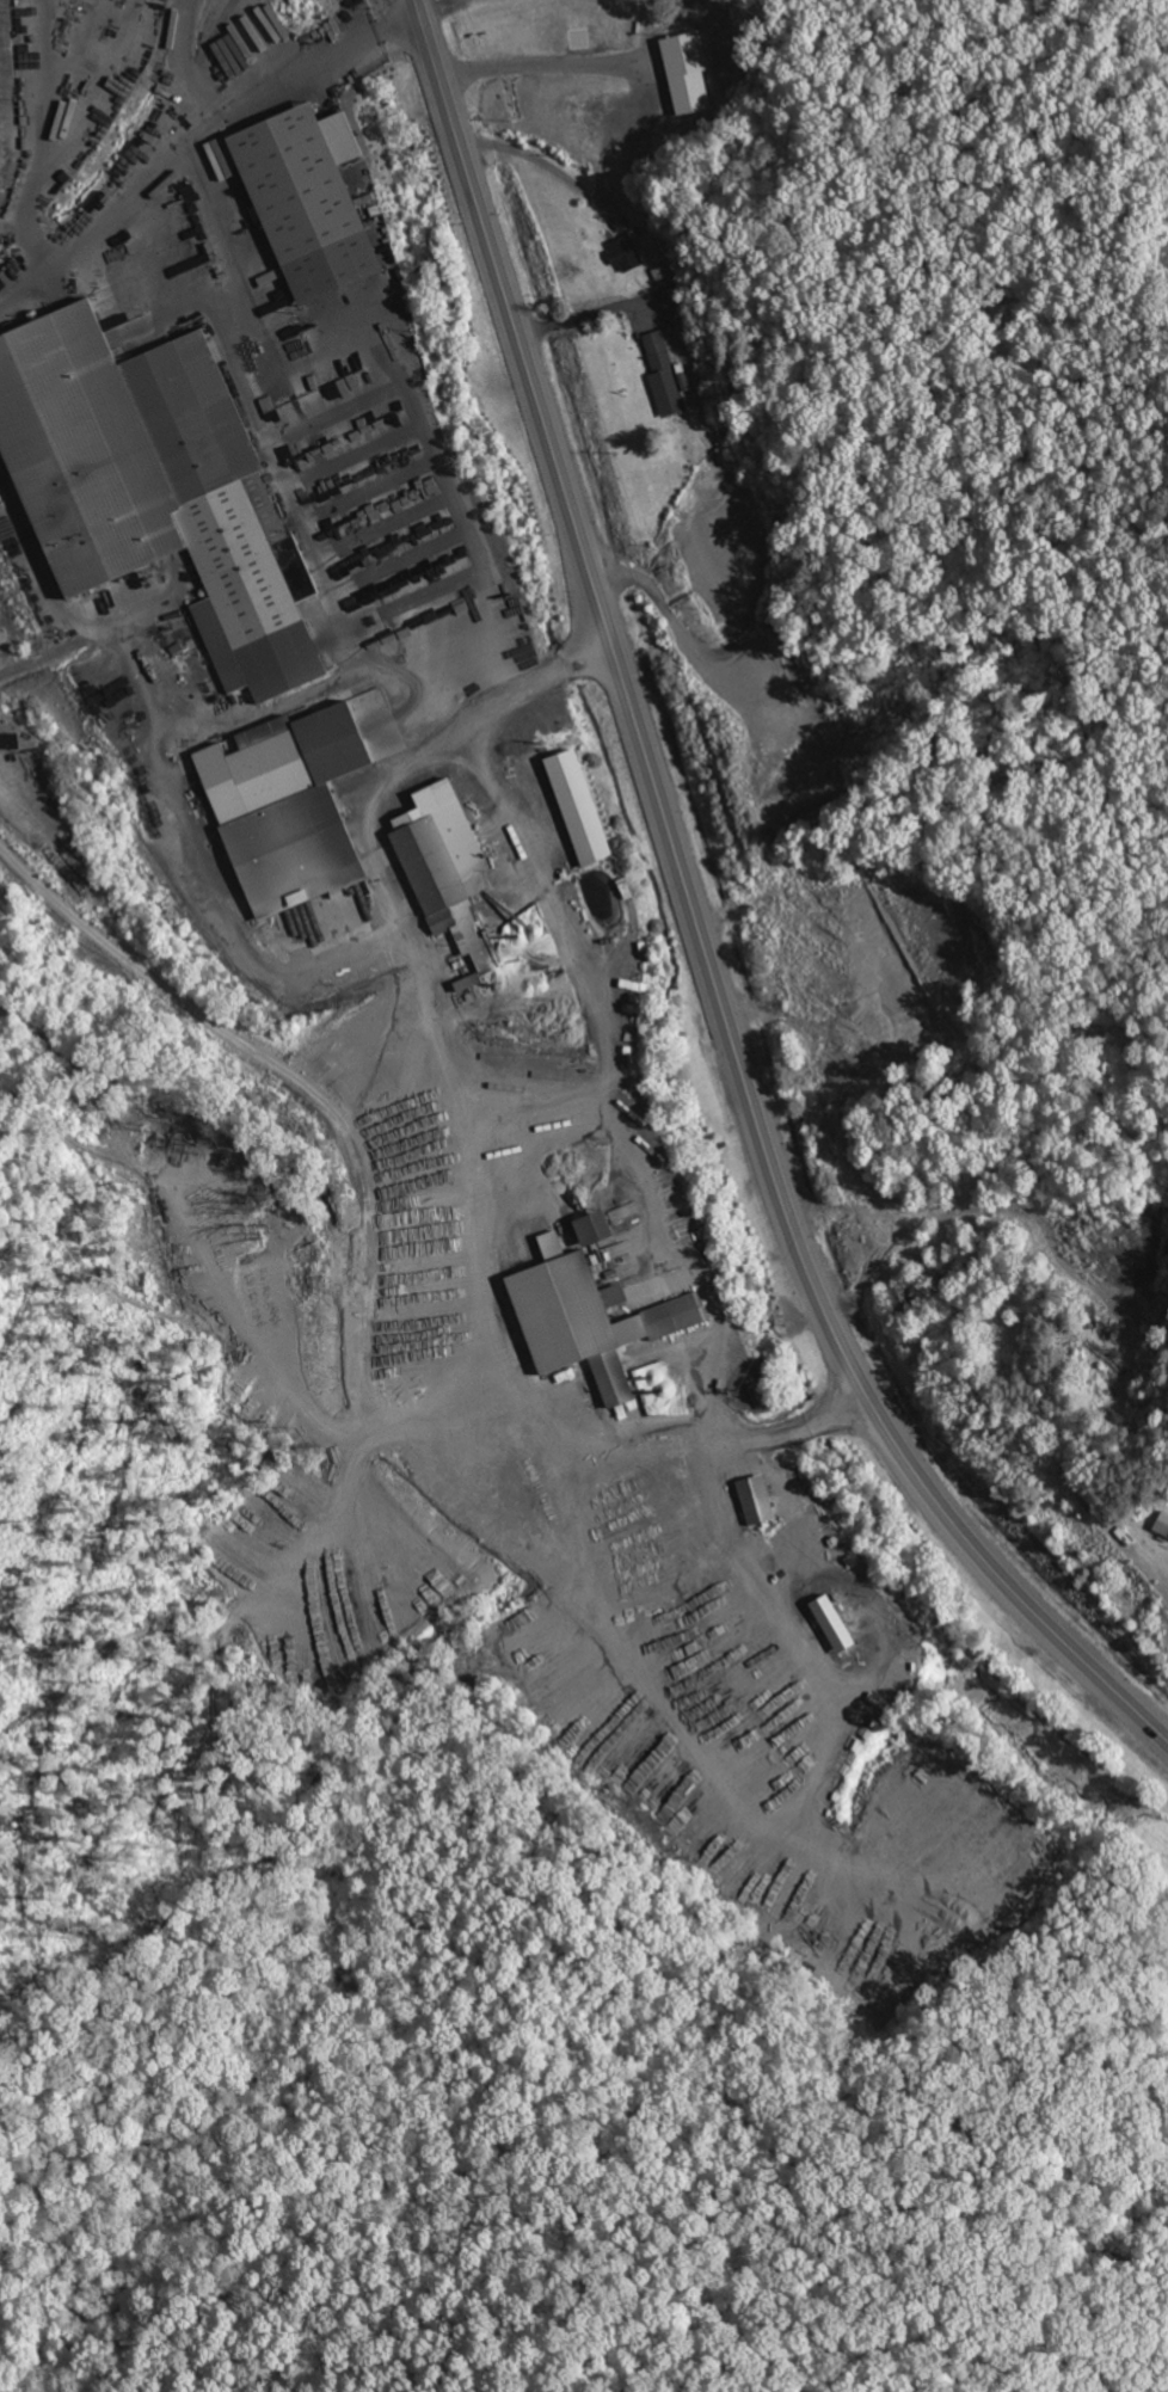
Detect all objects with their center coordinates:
road: (540, 64)
building: (689, 70)
road: (193, 131)
building: (314, 201)
building: (628, 253)
building: (664, 374)
building: (156, 485)
road: (646, 564)
building: (290, 806)
building: (584, 807)
building: (444, 854)
road: (695, 923)
building: (602, 1225)
building: (578, 1243)
building: (594, 1317)
building: (762, 1394)
building: (760, 1499)
building: (1162, 1523)
building: (838, 1622)

